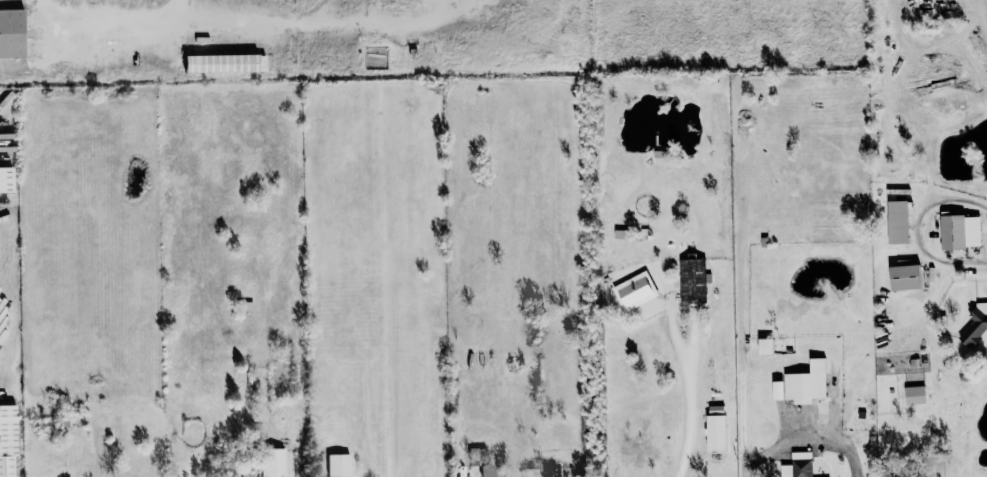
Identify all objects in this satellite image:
road: (102, 10)
road: (181, 10)
road: (326, 16)
building: (12, 32)
building: (222, 62)
building: (6, 179)
building: (896, 221)
building: (959, 231)
road: (917, 233)
building: (904, 277)
building: (691, 280)
building: (634, 290)
building: (974, 325)
building: (765, 345)
building: (802, 383)
building: (913, 394)
road: (692, 395)
building: (715, 427)
road: (806, 437)
building: (8, 439)
building: (272, 462)
building: (337, 464)
building: (797, 465)
building: (485, 470)

